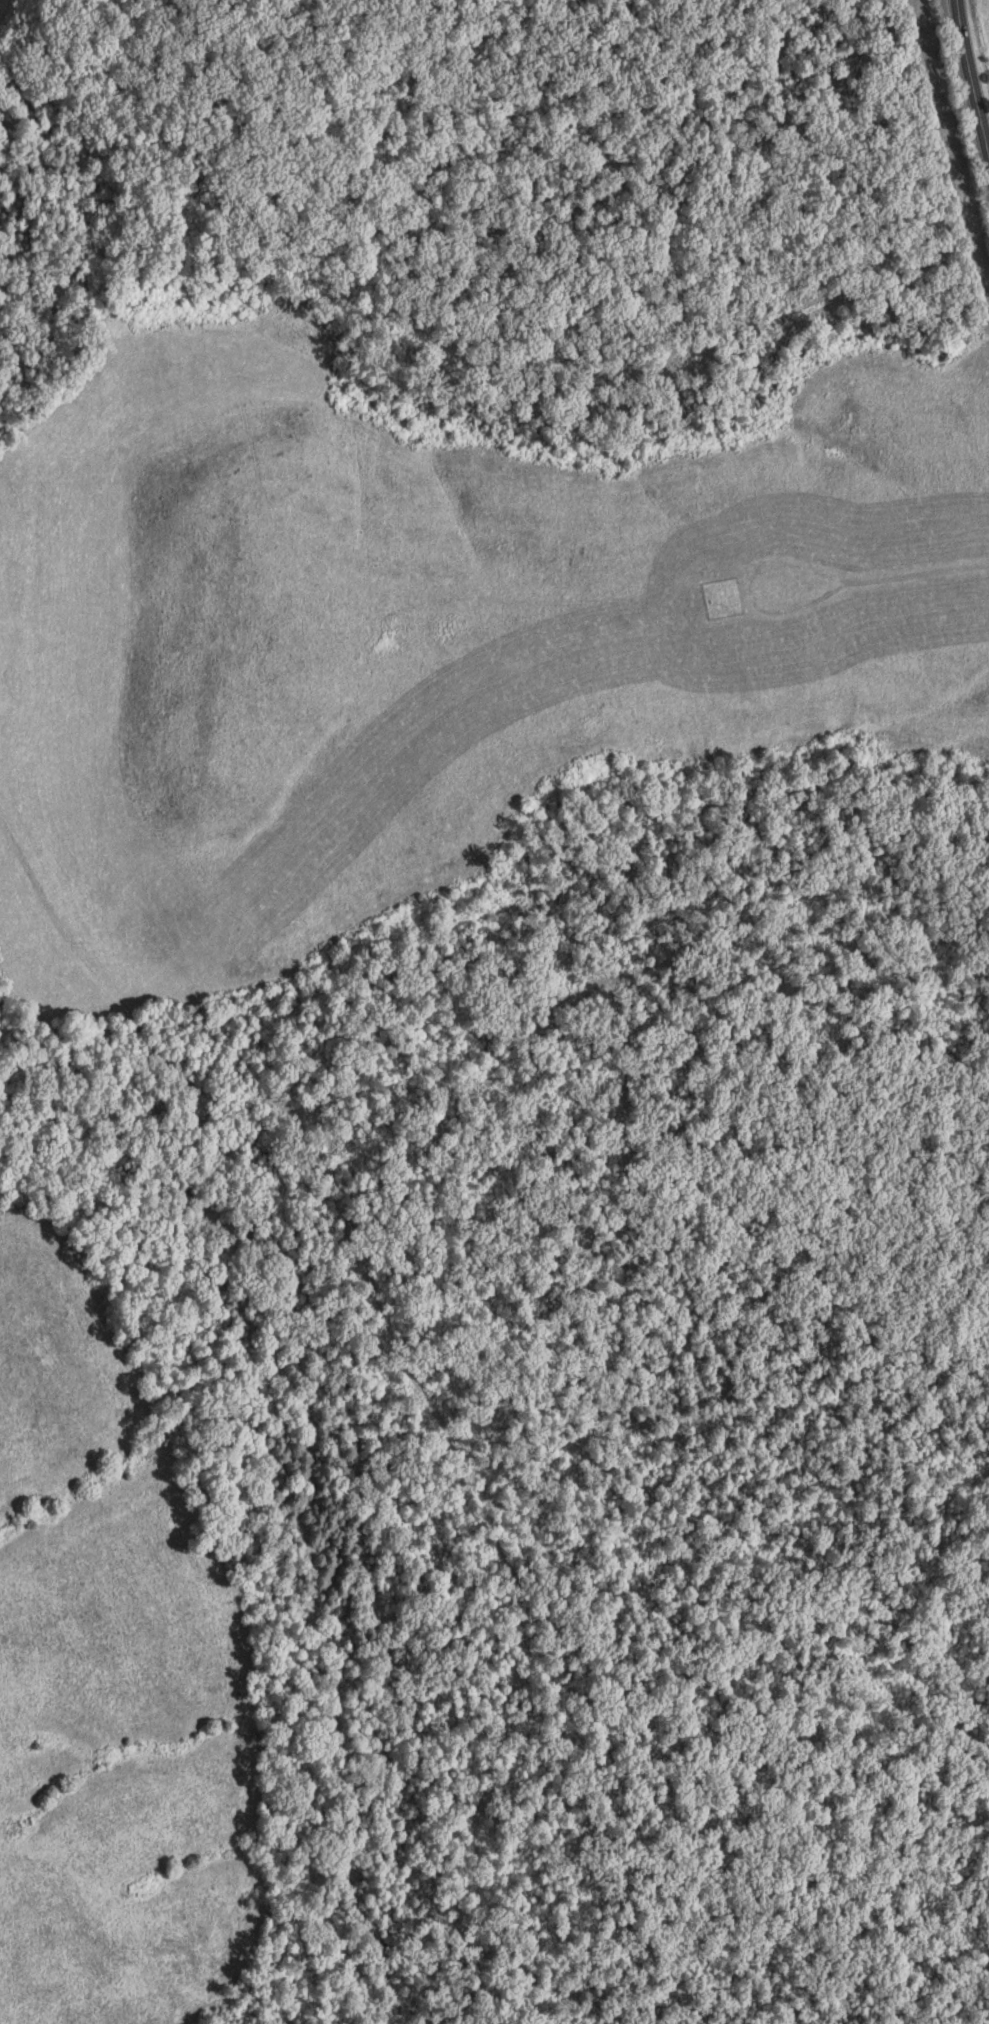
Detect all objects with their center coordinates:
road: (973, 76)

